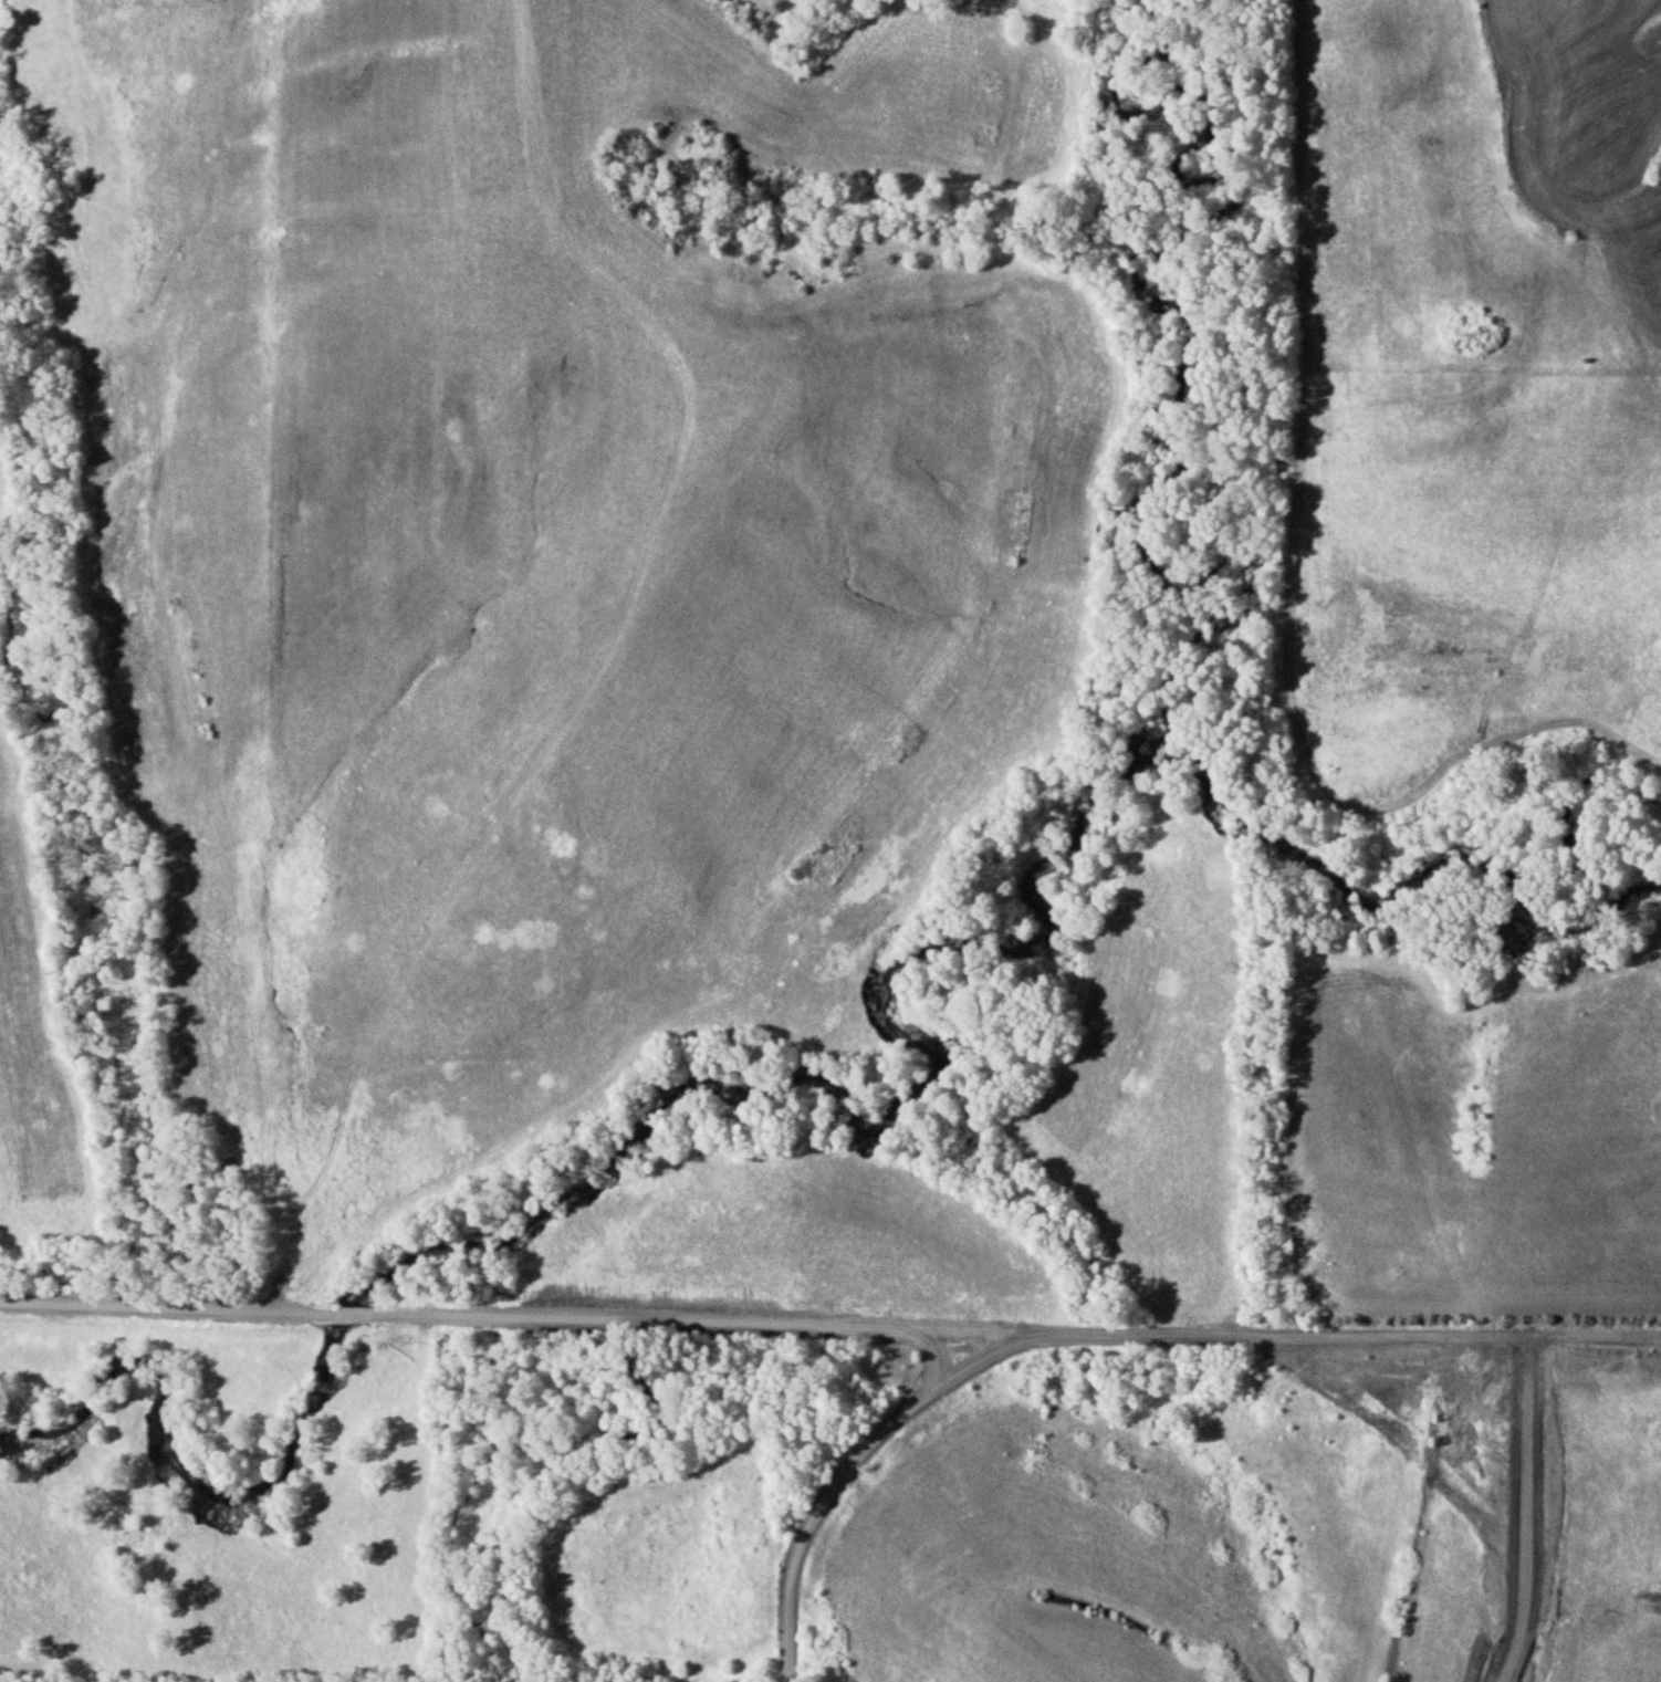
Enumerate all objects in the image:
road: (167, 1309)
road: (354, 1315)
road: (1016, 1331)
road: (938, 1351)
road: (846, 1465)

